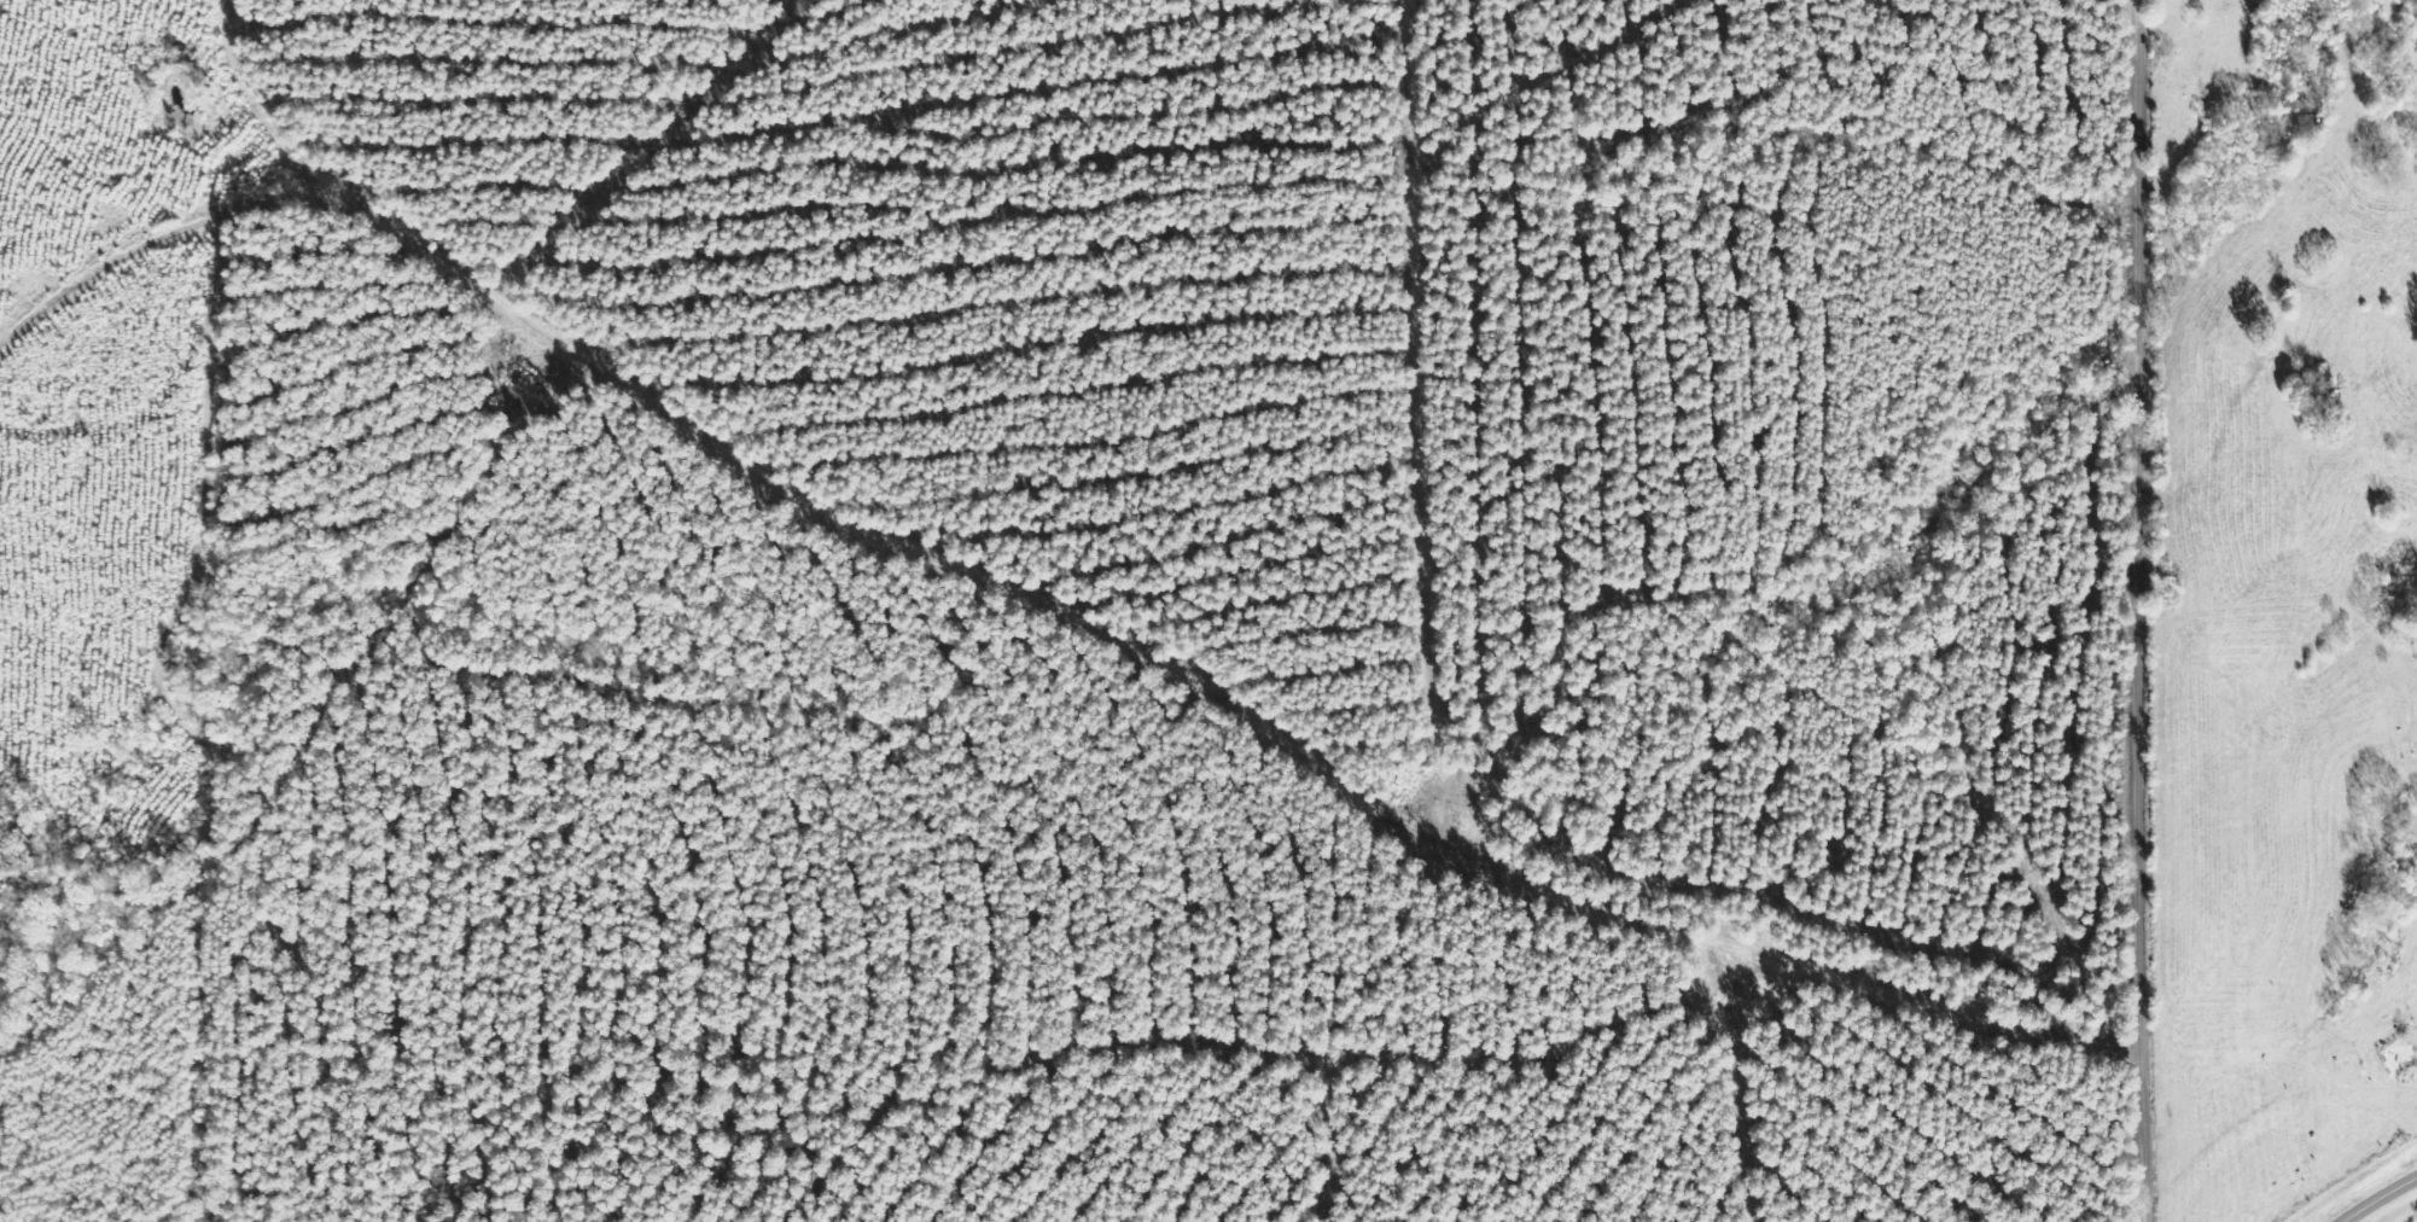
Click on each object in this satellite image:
road: (2134, 607)
road: (2377, 1194)

